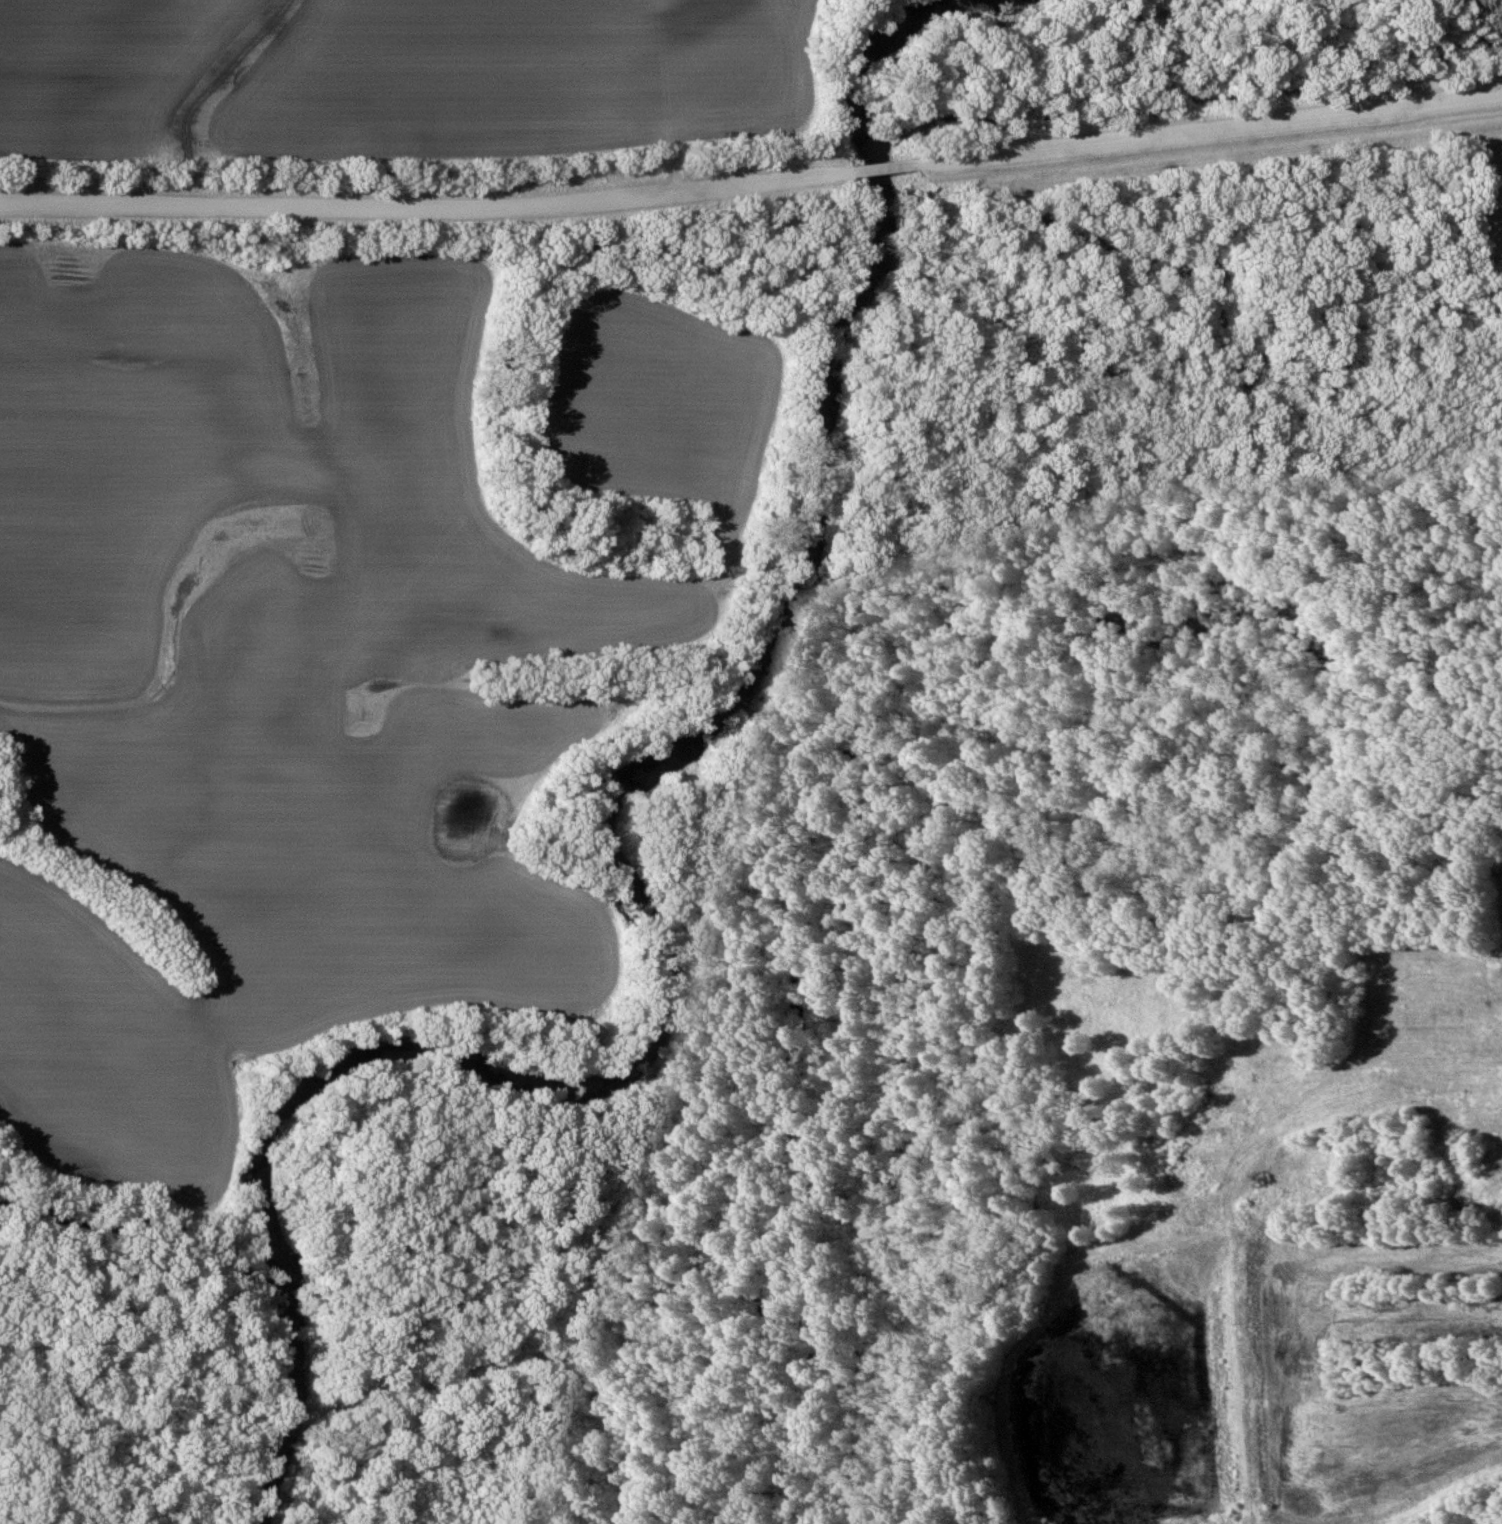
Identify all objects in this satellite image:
river: (900, 59)
road: (1208, 128)
road: (866, 168)
river: (872, 169)
road: (410, 210)
river: (687, 990)

